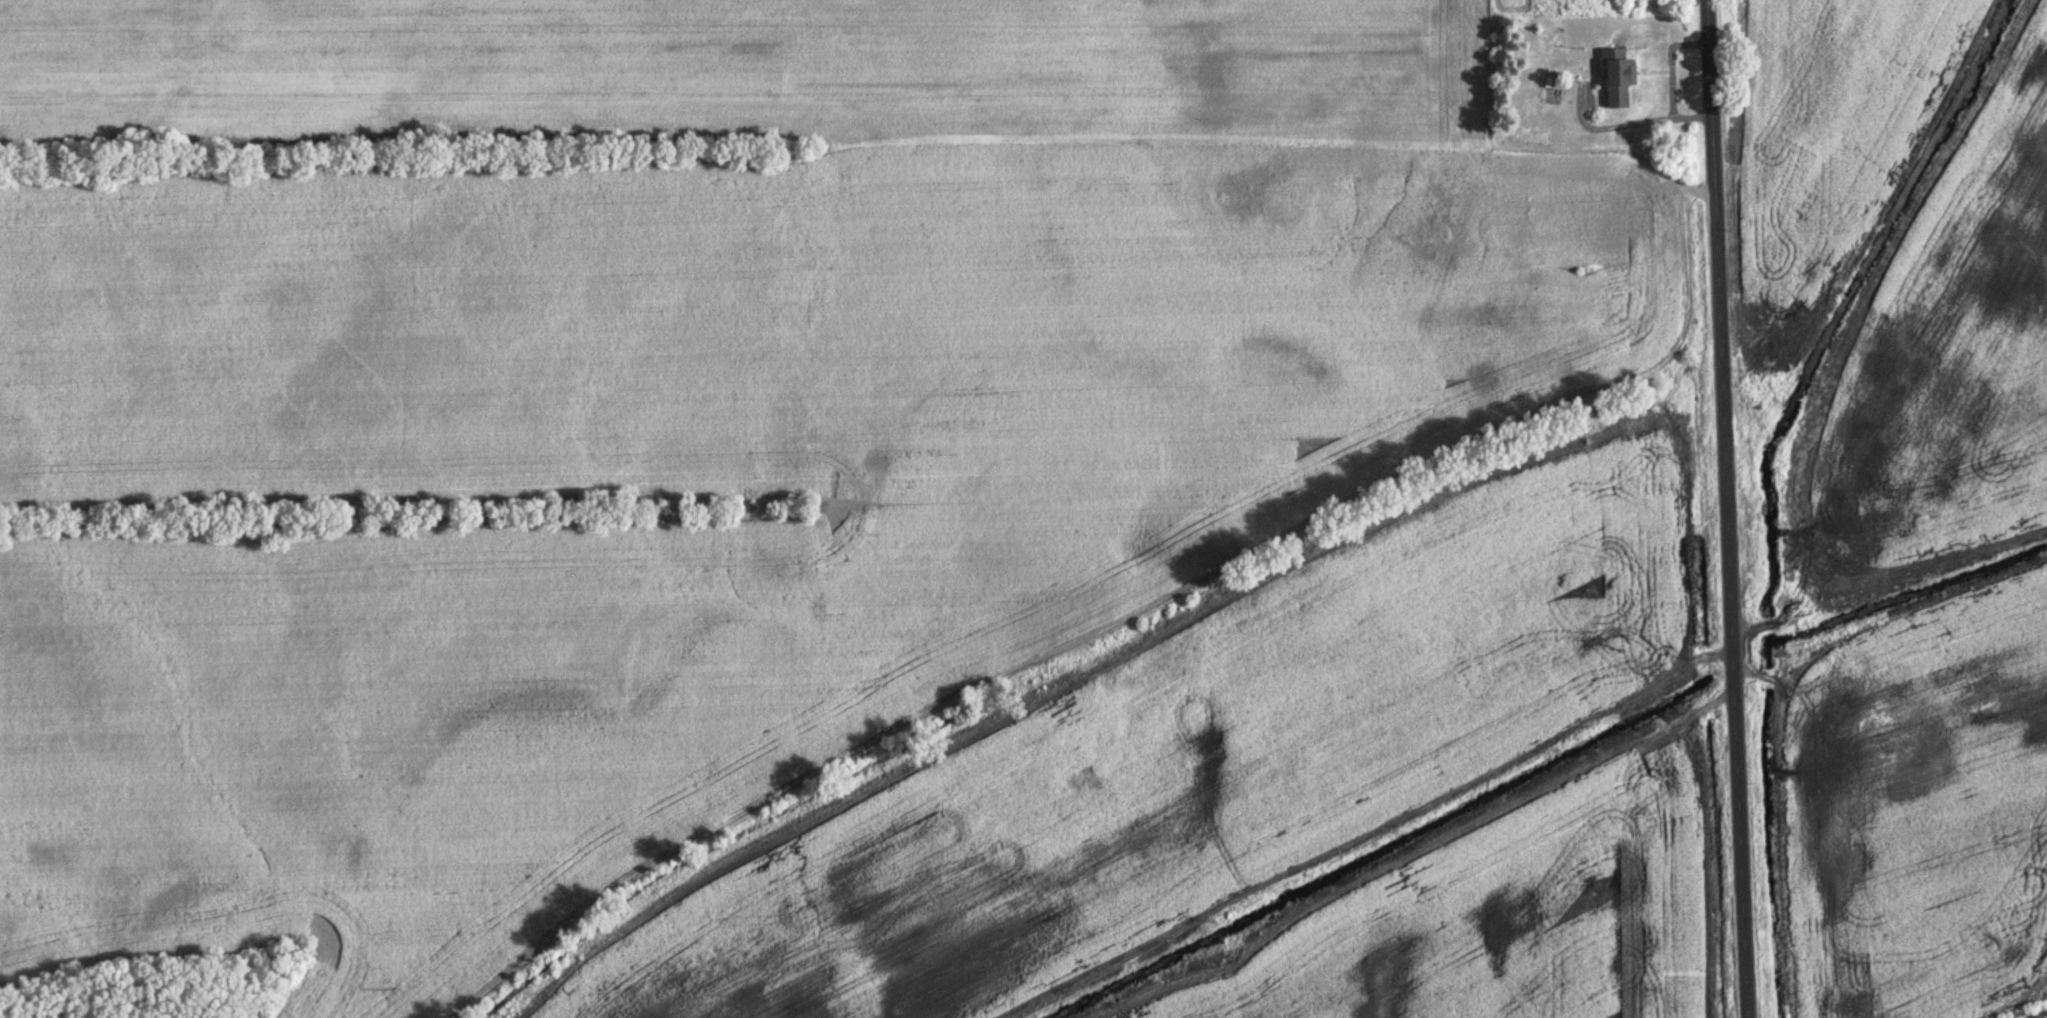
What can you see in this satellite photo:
building: (1622, 80)
road: (1670, 86)
road: (1731, 509)

